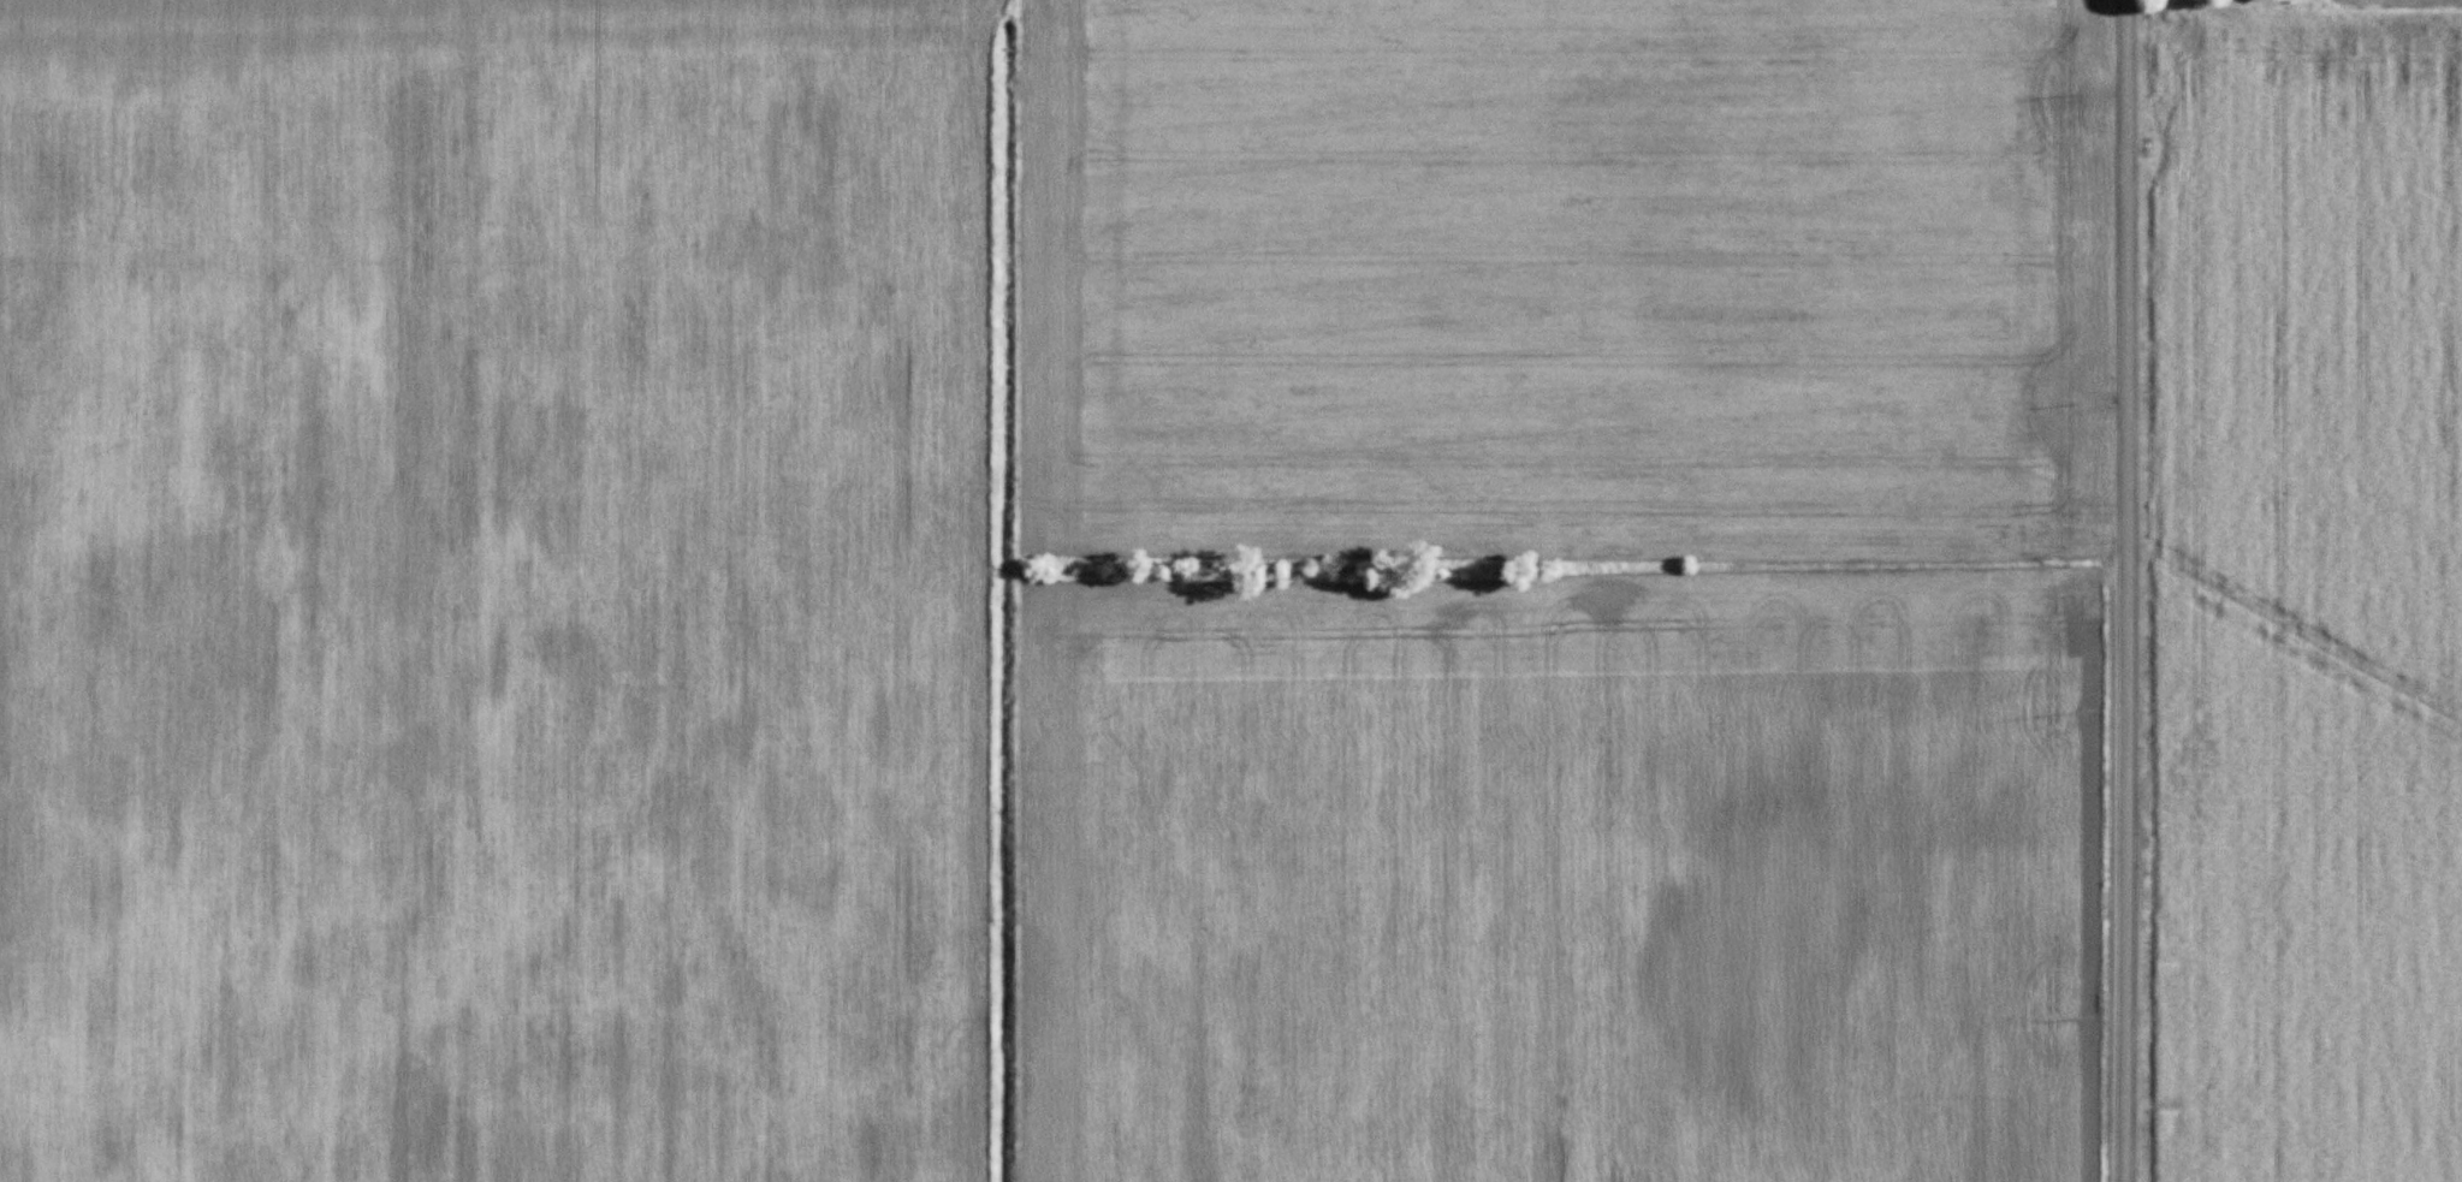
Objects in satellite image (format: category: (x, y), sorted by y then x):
road: (2123, 590)

